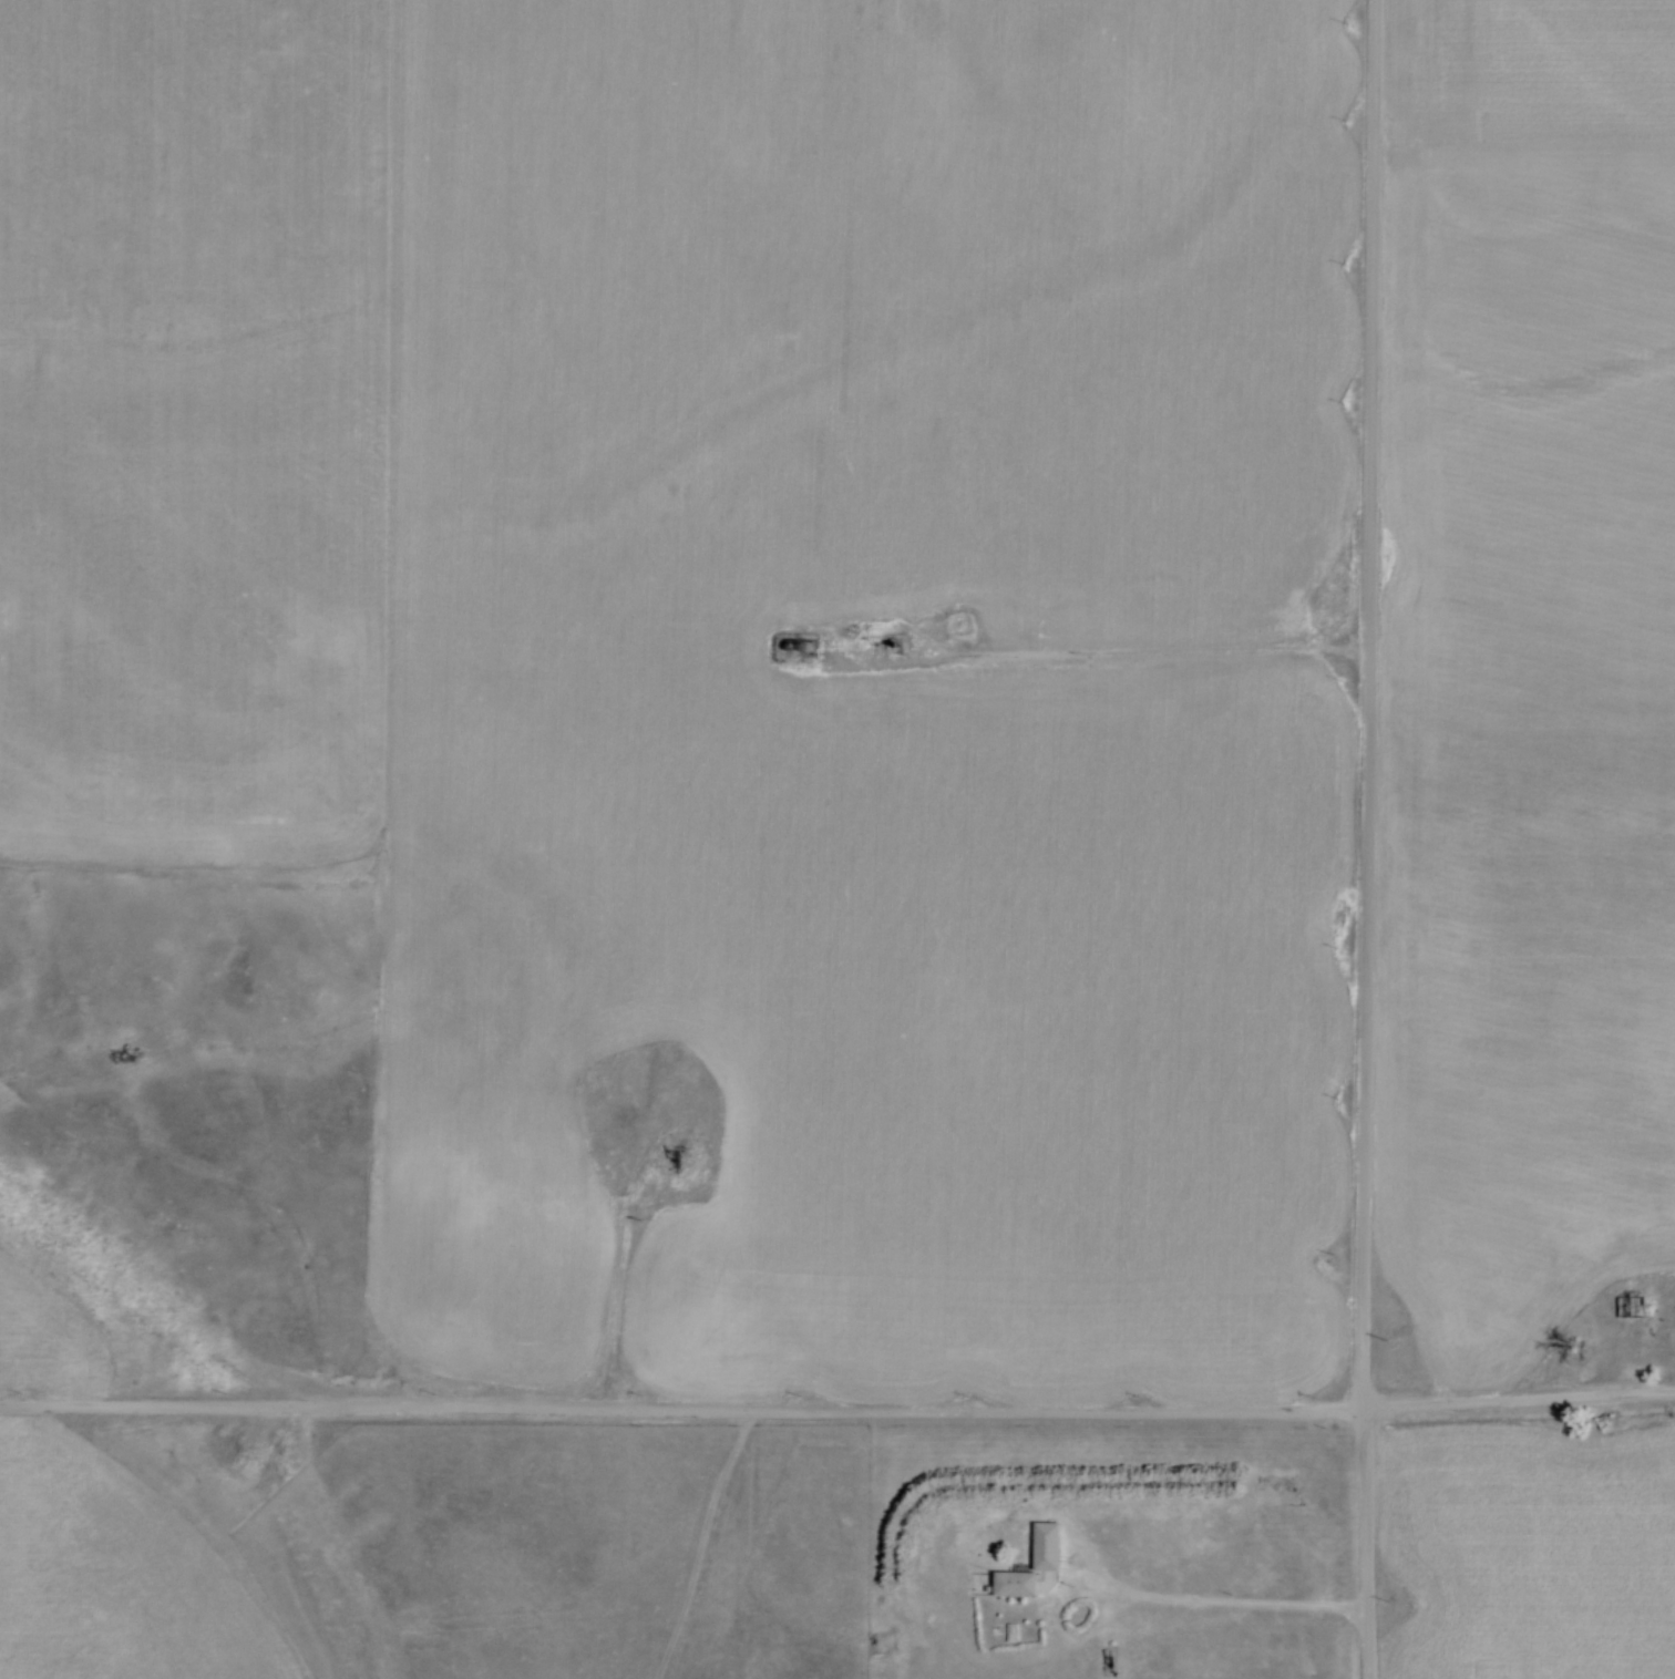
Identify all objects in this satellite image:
road: (896, 624)
crop: (729, 634)
petroleum well: (894, 641)
road: (1162, 648)
crop: (1527, 673)
road: (1368, 839)
road: (682, 1133)
petroleum well: (679, 1151)
building: (1634, 1291)
road: (614, 1304)
crop: (51, 1336)
road: (837, 1408)
building: (1050, 1543)
crop: (1531, 1547)
crop: (114, 1574)
building: (1018, 1580)
road: (1219, 1599)

